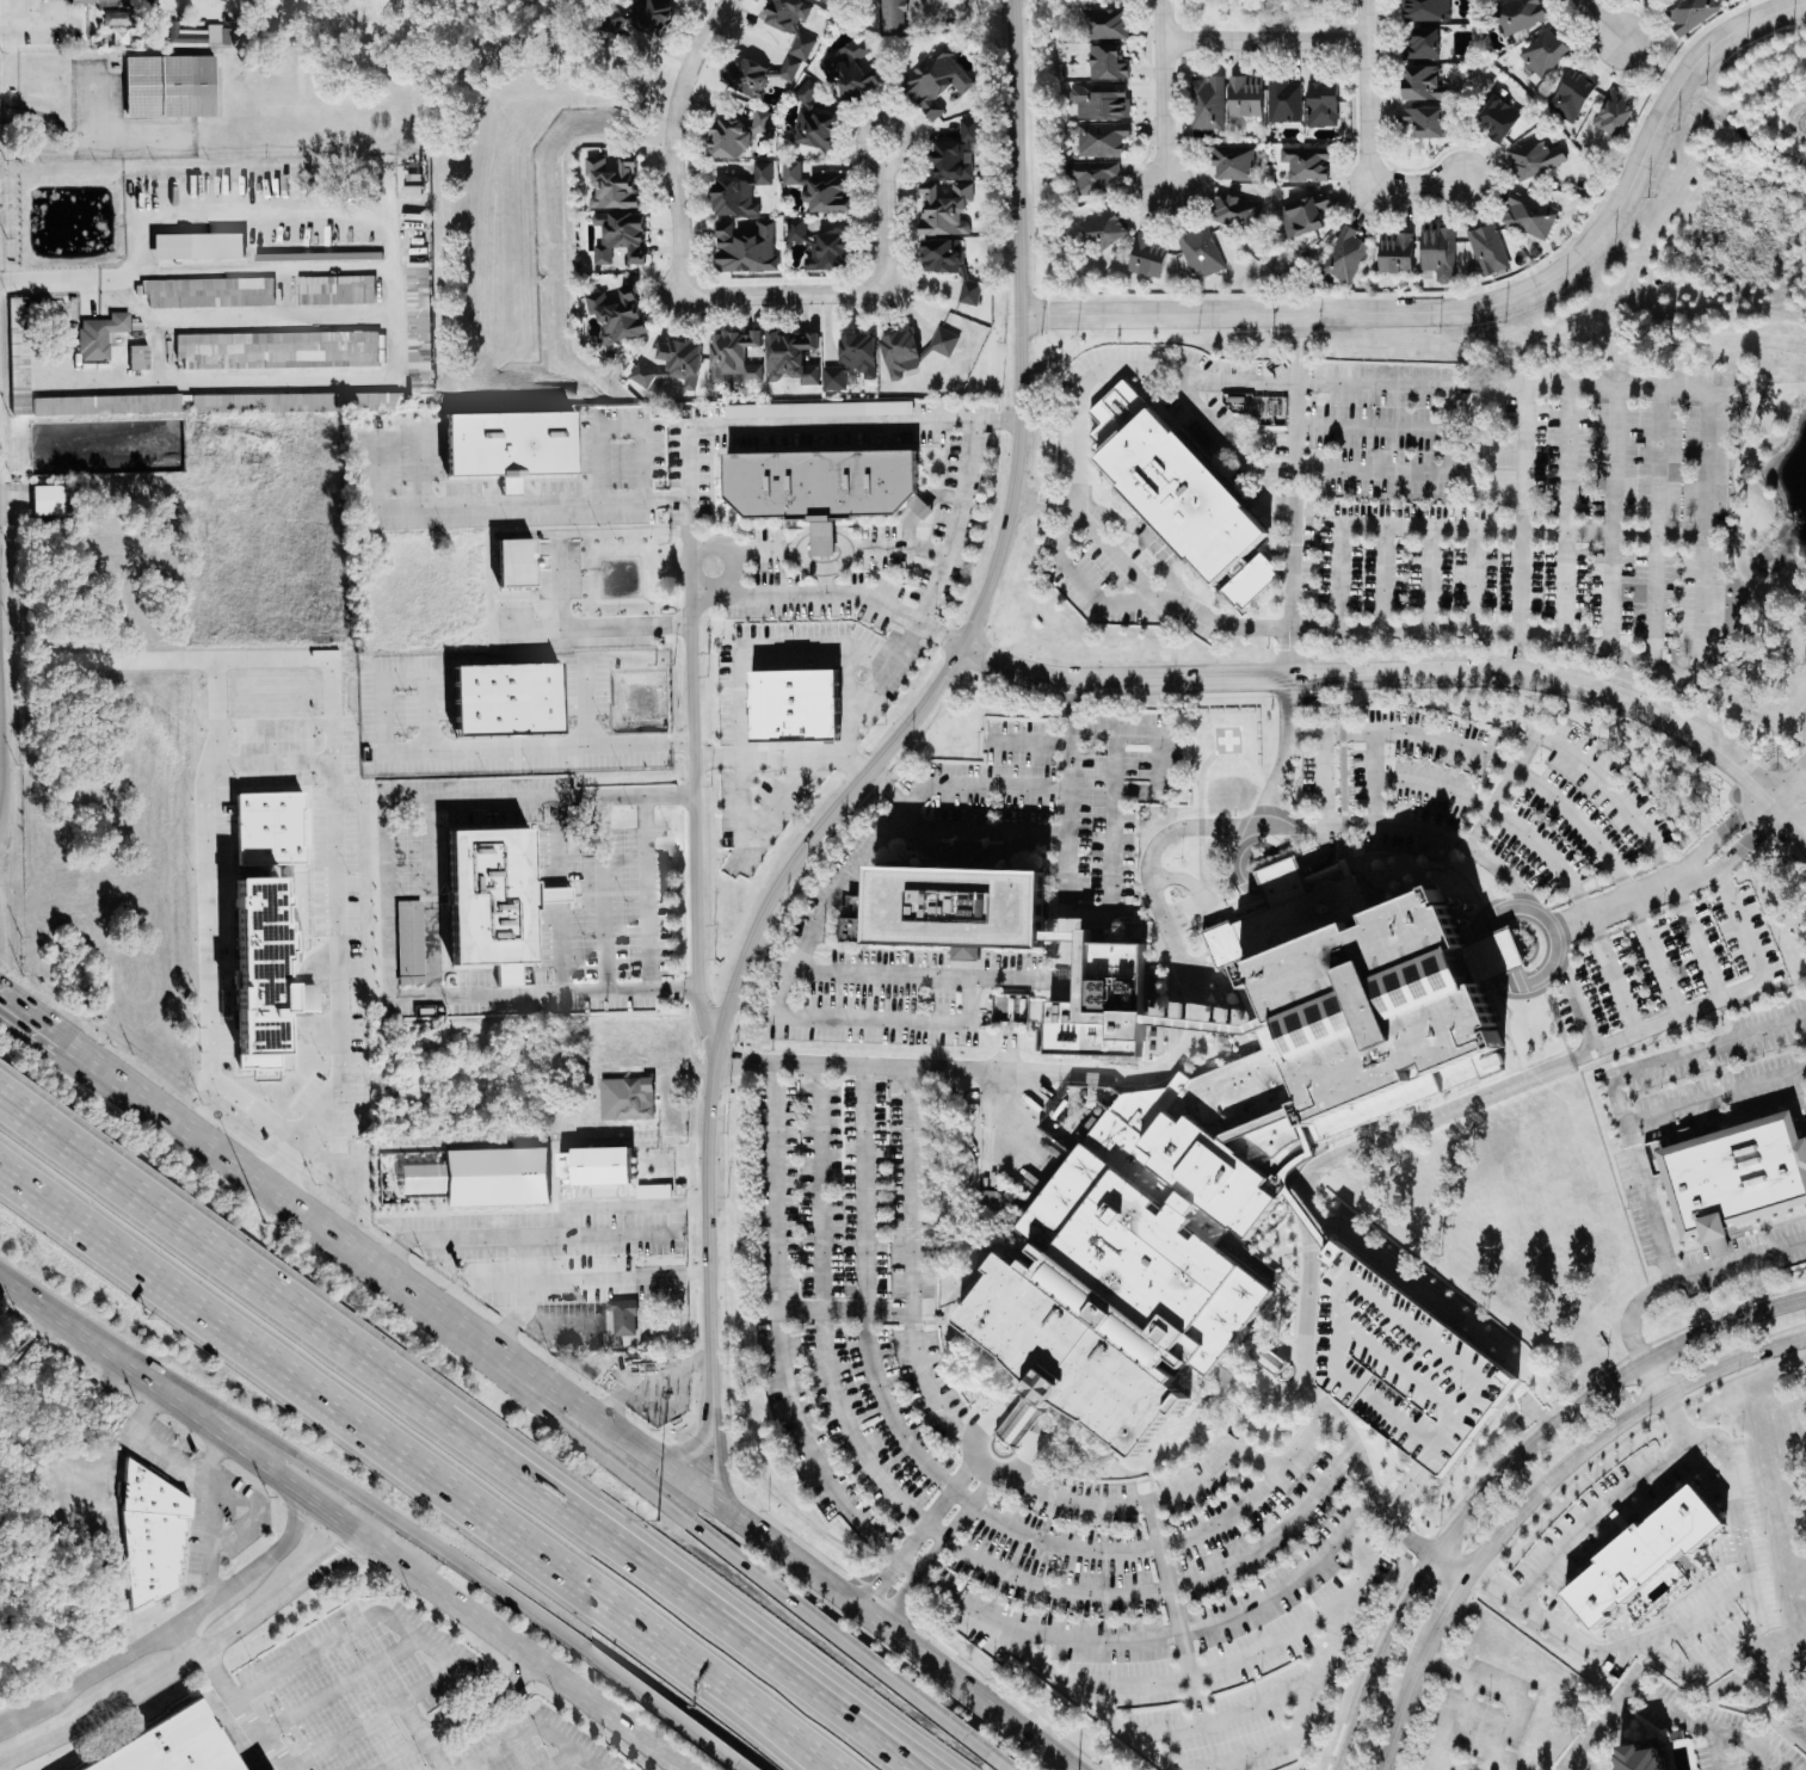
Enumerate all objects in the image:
building: (94, 0)
building: (821, 0)
building: (1424, 11)
road: (919, 12)
building: (1689, 13)
park: (1264, 14)
building: (647, 16)
building: (890, 16)
building: (1517, 16)
road: (1163, 19)
road: (1601, 20)
road: (20, 21)
building: (790, 24)
building: (1107, 24)
building: (216, 33)
building: (185, 37)
road: (1264, 38)
building: (1422, 44)
building: (1541, 55)
building: (1104, 62)
building: (788, 69)
building: (850, 72)
building: (745, 74)
building: (933, 81)
building: (1422, 84)
building: (166, 86)
building: (806, 91)
road: (1367, 93)
building: (1244, 95)
building: (1570, 95)
building: (1097, 101)
building: (1282, 101)
building: (1207, 103)
building: (1320, 103)
road: (1164, 112)
building: (1613, 113)
building: (1497, 118)
building: (1423, 121)
building: (759, 122)
road: (881, 123)
building: (814, 129)
road: (90, 138)
building: (726, 138)
building: (1099, 138)
road: (672, 140)
building: (954, 153)
building: (1533, 158)
building: (1232, 162)
building: (1303, 164)
building: (1093, 177)
building: (609, 183)
road: (1416, 183)
building: (816, 187)
building: (738, 192)
building: (942, 209)
building: (1235, 210)
building: (1301, 215)
building: (1527, 216)
building: (1103, 228)
building: (794, 229)
road: (884, 229)
building: (618, 236)
building: (168, 246)
building: (744, 247)
building: (1486, 249)
building: (826, 251)
building: (1394, 252)
building: (1437, 252)
building: (1198, 253)
building: (1344, 254)
building: (1147, 255)
building: (947, 264)
road: (113, 282)
building: (333, 290)
building: (208, 292)
road: (783, 294)
road: (1485, 306)
building: (616, 314)
road: (283, 320)
building: (417, 331)
building: (98, 335)
building: (942, 341)
building: (276, 350)
building: (898, 353)
building: (17, 356)
building: (136, 357)
building: (732, 357)
building: (789, 357)
building: (849, 360)
building: (670, 364)
road: (244, 383)
road: (1117, 396)
building: (263, 402)
building: (824, 409)
road: (1706, 417)
road: (999, 424)
road: (961, 426)
road: (621, 427)
road: (1374, 427)
road: (1450, 428)
road: (1228, 442)
building: (507, 445)
road: (1486, 461)
building: (821, 486)
road: (1295, 495)
building: (43, 499)
road: (516, 502)
building: (1192, 508)
road: (1566, 511)
road: (1613, 518)
road: (1471, 528)
road: (1656, 528)
road: (716, 544)
building: (512, 562)
road: (561, 576)
road: (1385, 576)
road: (1428, 578)
road: (1473, 578)
road: (1084, 585)
road: (843, 596)
road: (1170, 598)
road: (1405, 627)
road: (1512, 652)
road: (741, 653)
road: (1521, 653)
road: (242, 660)
road: (1407, 674)
building: (504, 699)
road: (590, 705)
building: (794, 707)
road: (906, 727)
helipad: (1227, 740)
road: (513, 745)
road: (1283, 753)
road: (795, 757)
road: (1, 769)
road: (1373, 776)
road: (1324, 777)
road: (1789, 781)
road: (1542, 787)
road: (1038, 789)
road: (887, 790)
road: (1, 801)
road: (870, 809)
road: (694, 810)
road: (1722, 827)
building: (269, 828)
road: (981, 830)
road: (752, 832)
road: (554, 843)
road: (1653, 847)
road: (1742, 851)
road: (1547, 856)
road: (1272, 880)
road: (555, 894)
road: (602, 894)
road: (647, 894)
road: (431, 896)
building: (491, 900)
road: (830, 902)
road: (1621, 902)
building: (960, 907)
road: (1212, 913)
road: (214, 921)
road: (1548, 926)
building: (407, 943)
road: (560, 945)
road: (1485, 962)
building: (259, 976)
road: (1022, 979)
road: (1189, 980)
road: (7, 991)
road: (7, 997)
building: (1099, 1001)
road: (337, 1013)
road: (42, 1017)
building: (1335, 1017)
road: (868, 1020)
road: (654, 1069)
road: (1616, 1093)
road: (1471, 1098)
building: (624, 1099)
road: (169, 1110)
road: (999, 1114)
building: (593, 1166)
building: (1734, 1174)
building: (494, 1177)
road: (1646, 1195)
road: (560, 1236)
road: (407, 1241)
road: (481, 1241)
road: (912, 1263)
road: (1689, 1272)
building: (1124, 1273)
road: (617, 1276)
road: (1306, 1283)
road: (865, 1290)
road: (844, 1308)
road: (824, 1310)
building: (622, 1316)
road: (776, 1330)
road: (1265, 1352)
road: (369, 1359)
building: (1269, 1359)
building: (1403, 1367)
road: (520, 1390)
road: (1019, 1425)
road: (1345, 1433)
road: (155, 1437)
road: (374, 1442)
road: (973, 1443)
road: (1247, 1451)
road: (685, 1453)
road: (1027, 1466)
road: (1504, 1466)
road: (721, 1467)
road: (673, 1473)
road: (339, 1485)
road: (1535, 1494)
road: (1079, 1503)
road: (214, 1515)
road: (1594, 1515)
road: (344, 1524)
road: (1395, 1529)
building: (153, 1535)
road: (917, 1536)
road: (1118, 1549)
road: (935, 1550)
building: (1642, 1559)
road: (1164, 1566)
road: (1158, 1590)
road: (1699, 1615)
road: (408, 1622)
road: (169, 1628)
road: (190, 1638)
road: (1151, 1638)
road: (1734, 1641)
road: (186, 1659)
road: (1192, 1678)
road: (1314, 1678)
road: (892, 1680)
road: (338, 1688)
road: (816, 1701)
road: (845, 1701)
road: (1081, 1702)
road: (1463, 1702)
road: (488, 1704)
road: (236, 1709)
road: (1222, 1719)
road: (528, 1723)
road: (1708, 1725)
road: (1594, 1729)
road: (345, 1734)
road: (710, 1739)
road: (781, 1740)
road: (788, 1740)
building: (167, 1745)
road: (401, 1754)
building: (1642, 1758)
road: (559, 1759)
road: (445, 1769)

